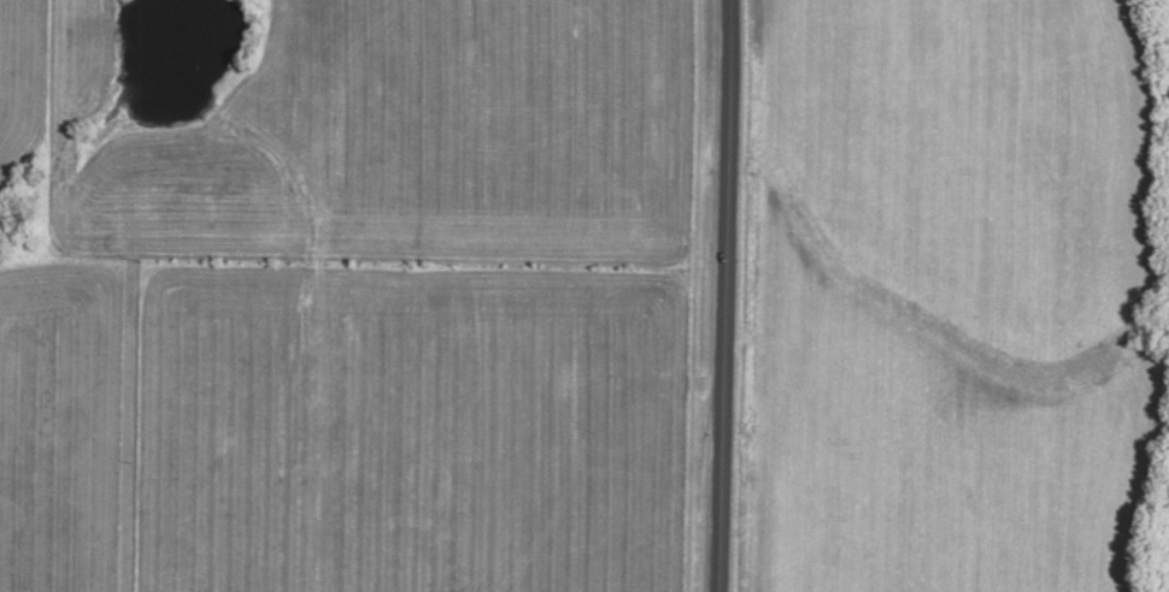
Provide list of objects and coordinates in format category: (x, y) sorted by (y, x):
road: (722, 295)

